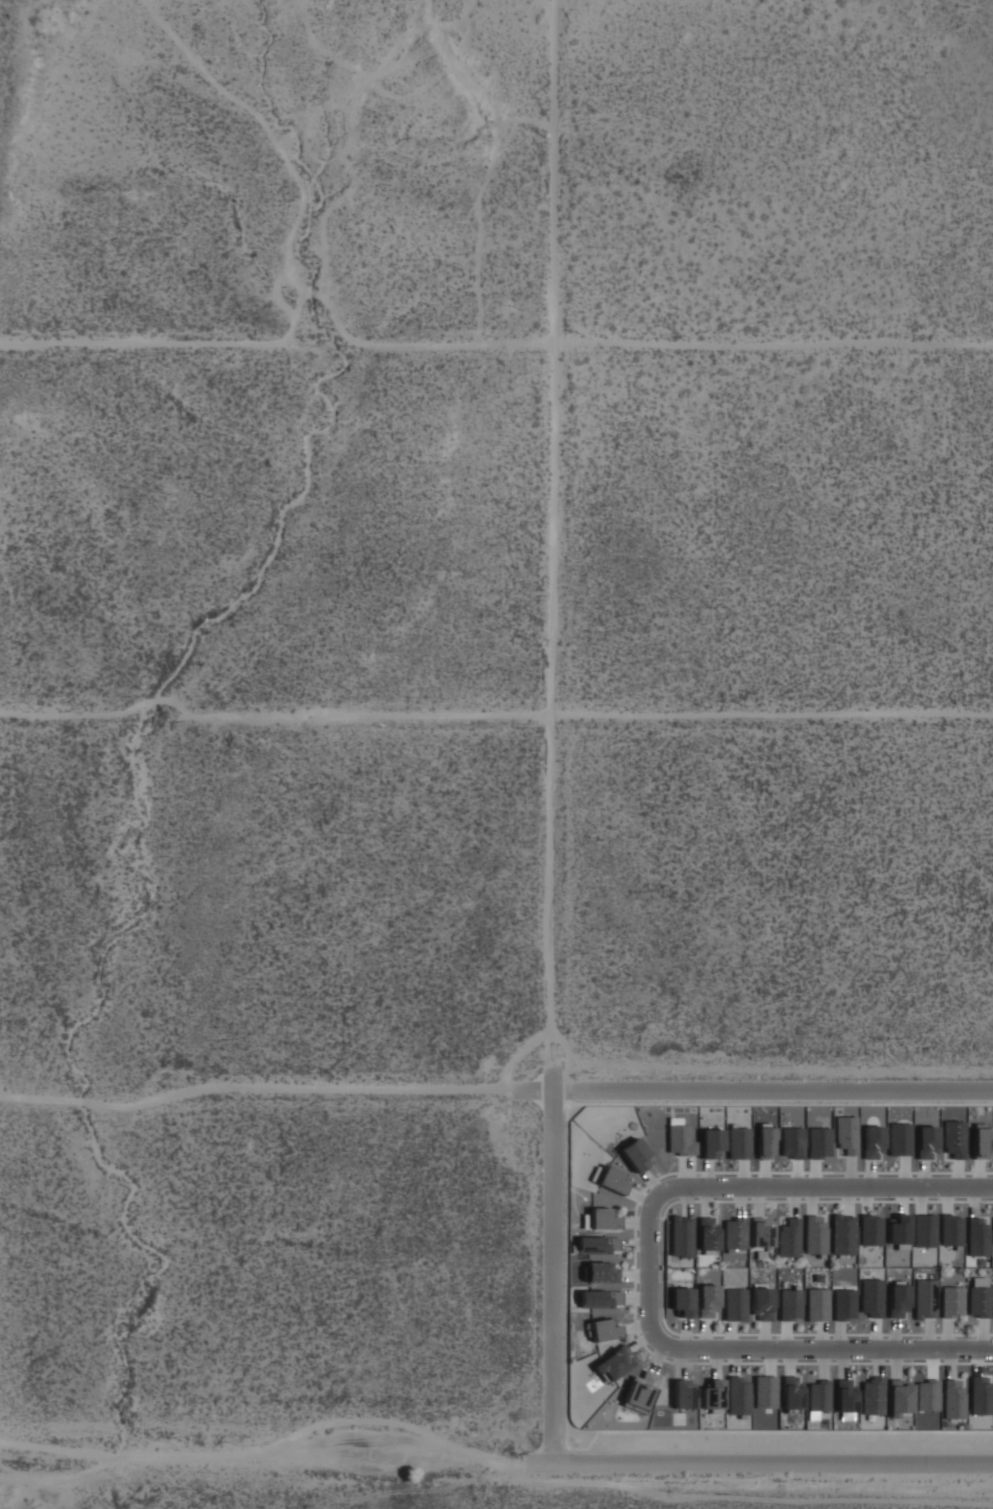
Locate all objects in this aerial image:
road: (139, 341)
road: (702, 344)
road: (100, 715)
road: (592, 718)
road: (273, 1088)
road: (772, 1092)
building: (846, 1135)
building: (953, 1137)
building: (899, 1139)
building: (979, 1139)
building: (679, 1140)
building: (712, 1141)
building: (738, 1142)
building: (819, 1142)
building: (764, 1143)
building: (872, 1143)
building: (925, 1143)
road: (685, 1172)
road: (850, 1173)
road: (903, 1173)
road: (707, 1174)
road: (796, 1174)
road: (870, 1174)
road: (741, 1175)
road: (764, 1175)
road: (813, 1175)
road: (922, 1175)
road: (979, 1175)
road: (959, 1176)
building: (611, 1180)
road: (651, 1182)
road: (640, 1197)
road: (810, 1199)
road: (846, 1199)
road: (866, 1199)
road: (918, 1199)
road: (946, 1199)
road: (683, 1200)
road: (705, 1200)
road: (792, 1200)
road: (973, 1200)
road: (738, 1201)
road: (758, 1201)
road: (634, 1222)
building: (869, 1225)
building: (924, 1231)
building: (950, 1231)
building: (759, 1233)
building: (707, 1234)
building: (734, 1234)
building: (814, 1234)
building: (842, 1235)
building: (789, 1238)
building: (977, 1238)
road: (633, 1244)
road: (648, 1267)
road: (634, 1276)
road: (553, 1278)
road: (635, 1298)
building: (585, 1299)
building: (681, 1300)
building: (897, 1300)
building: (707, 1301)
building: (978, 1301)
building: (950, 1302)
building: (760, 1303)
building: (789, 1304)
building: (843, 1304)
building: (734, 1305)
building: (817, 1305)
road: (636, 1325)
building: (603, 1330)
road: (874, 1334)
road: (684, 1335)
road: (894, 1335)
road: (928, 1335)
road: (946, 1335)
road: (982, 1335)
road: (706, 1336)
road: (730, 1336)
road: (784, 1336)
road: (821, 1336)
road: (765, 1337)
road: (839, 1337)
road: (641, 1341)
road: (658, 1357)
road: (735, 1360)
road: (769, 1360)
road: (789, 1360)
road: (842, 1361)
road: (877, 1361)
road: (678, 1362)
road: (824, 1362)
road: (951, 1362)
building: (613, 1363)
road: (895, 1363)
building: (764, 1391)
building: (737, 1392)
building: (792, 1393)
building: (682, 1394)
building: (844, 1395)
building: (819, 1396)
building: (872, 1396)
building: (927, 1396)
building: (899, 1397)
building: (981, 1397)
building: (953, 1400)
road: (278, 1466)
road: (774, 1466)

